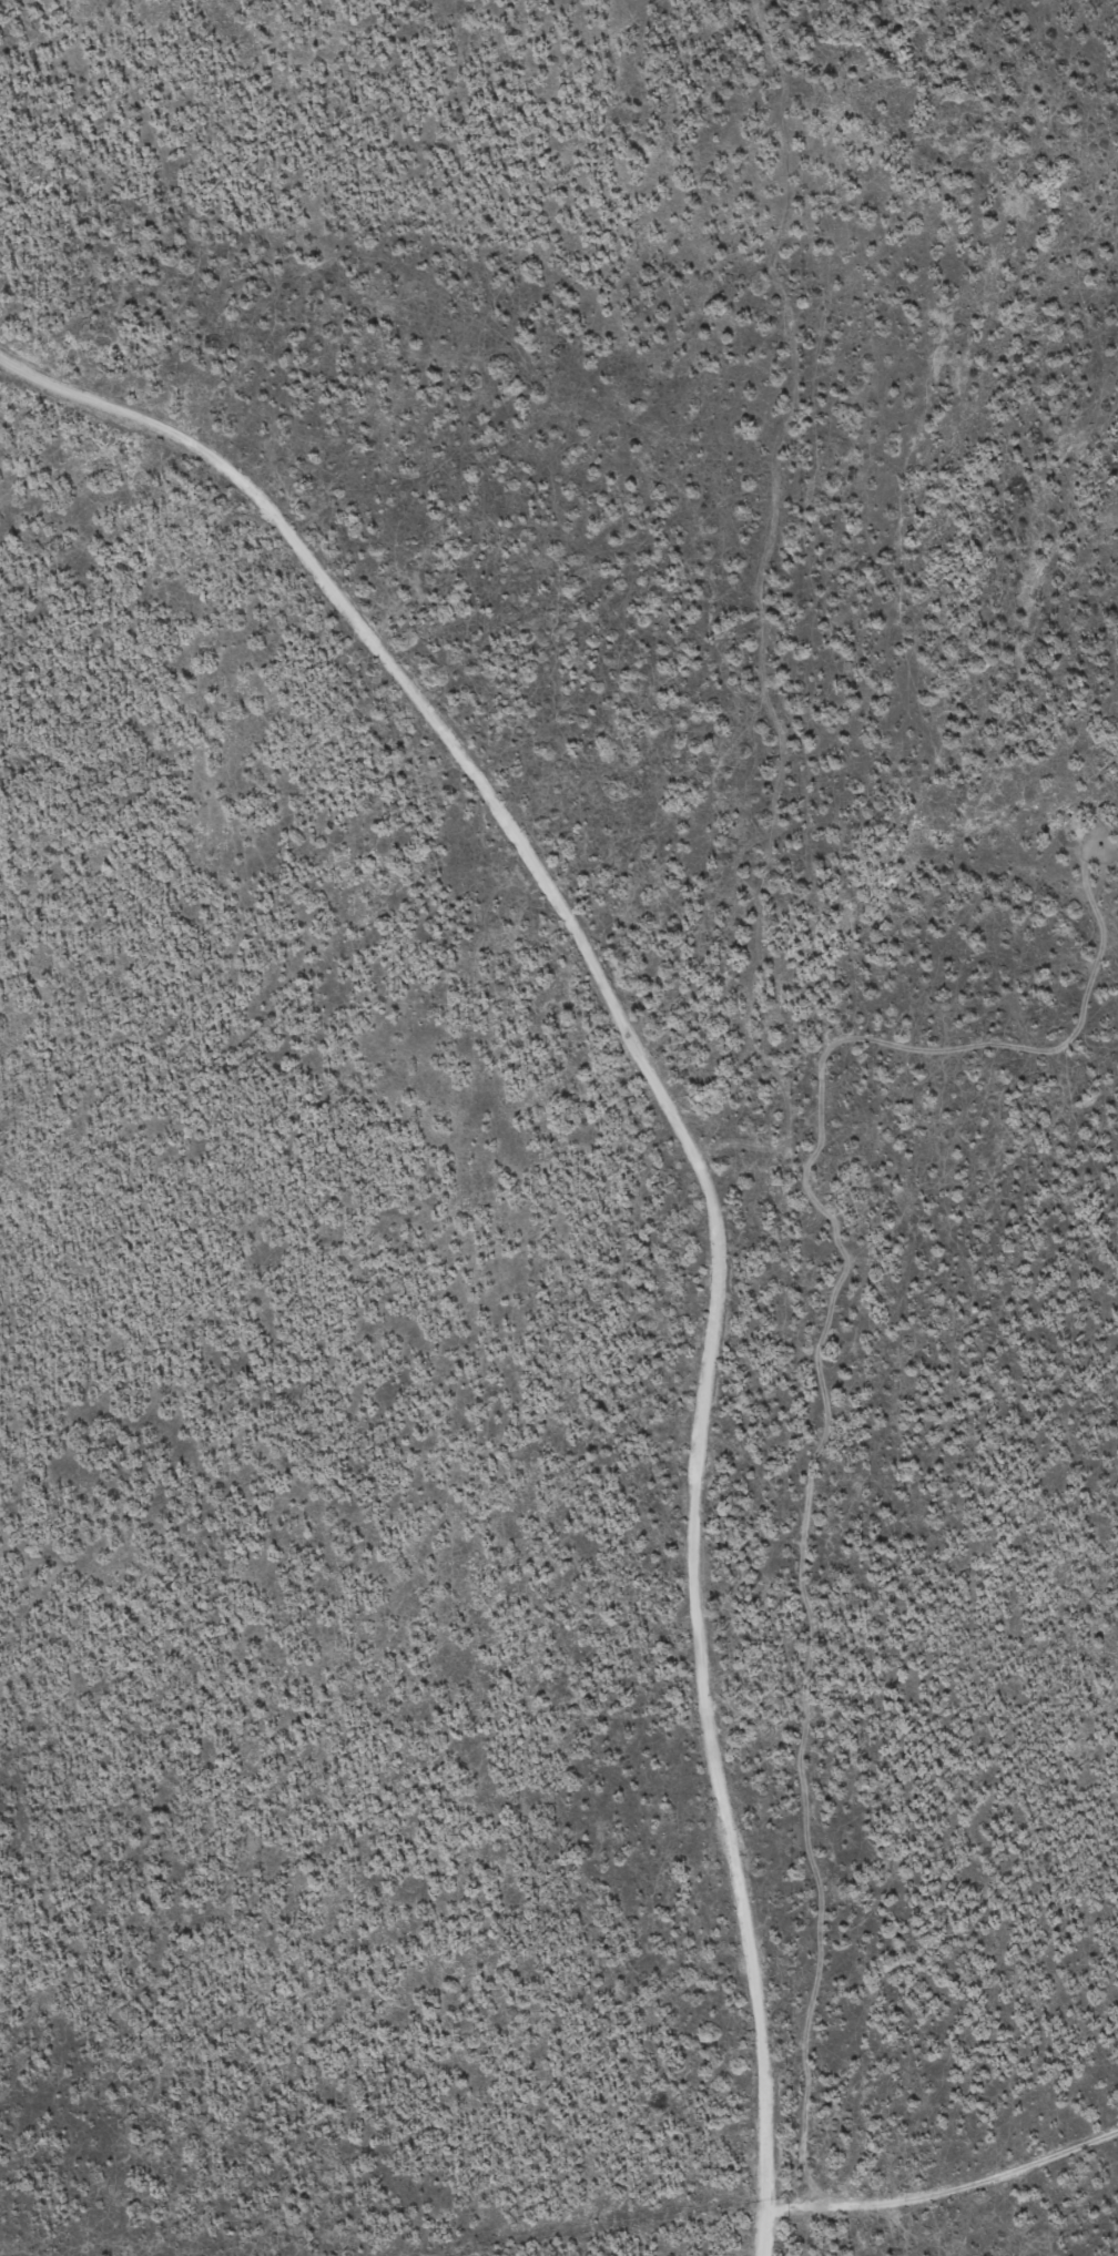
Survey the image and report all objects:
road: (699, 1166)
road: (944, 2182)

